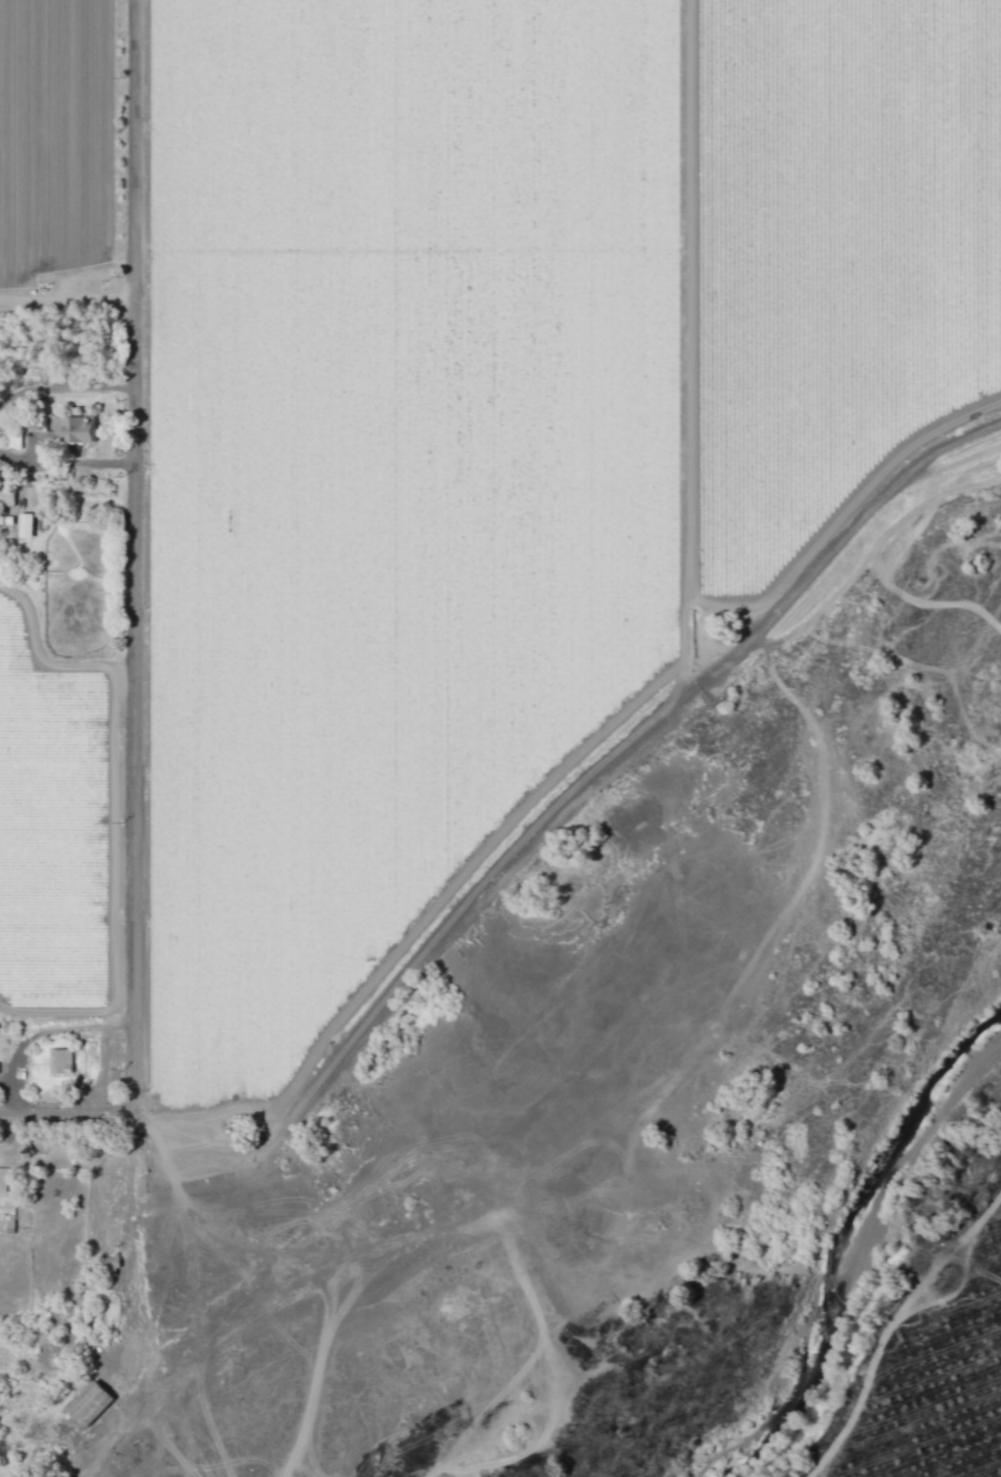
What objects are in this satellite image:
road: (68, 291)
road: (67, 388)
building: (70, 430)
road: (68, 461)
building: (6, 496)
building: (25, 526)
road: (137, 657)
road: (46, 660)
road: (570, 795)
road: (39, 1033)
building: (60, 1062)
road: (69, 1120)
building: (3, 1180)
river: (847, 1255)
building: (111, 1266)
building: (90, 1404)

